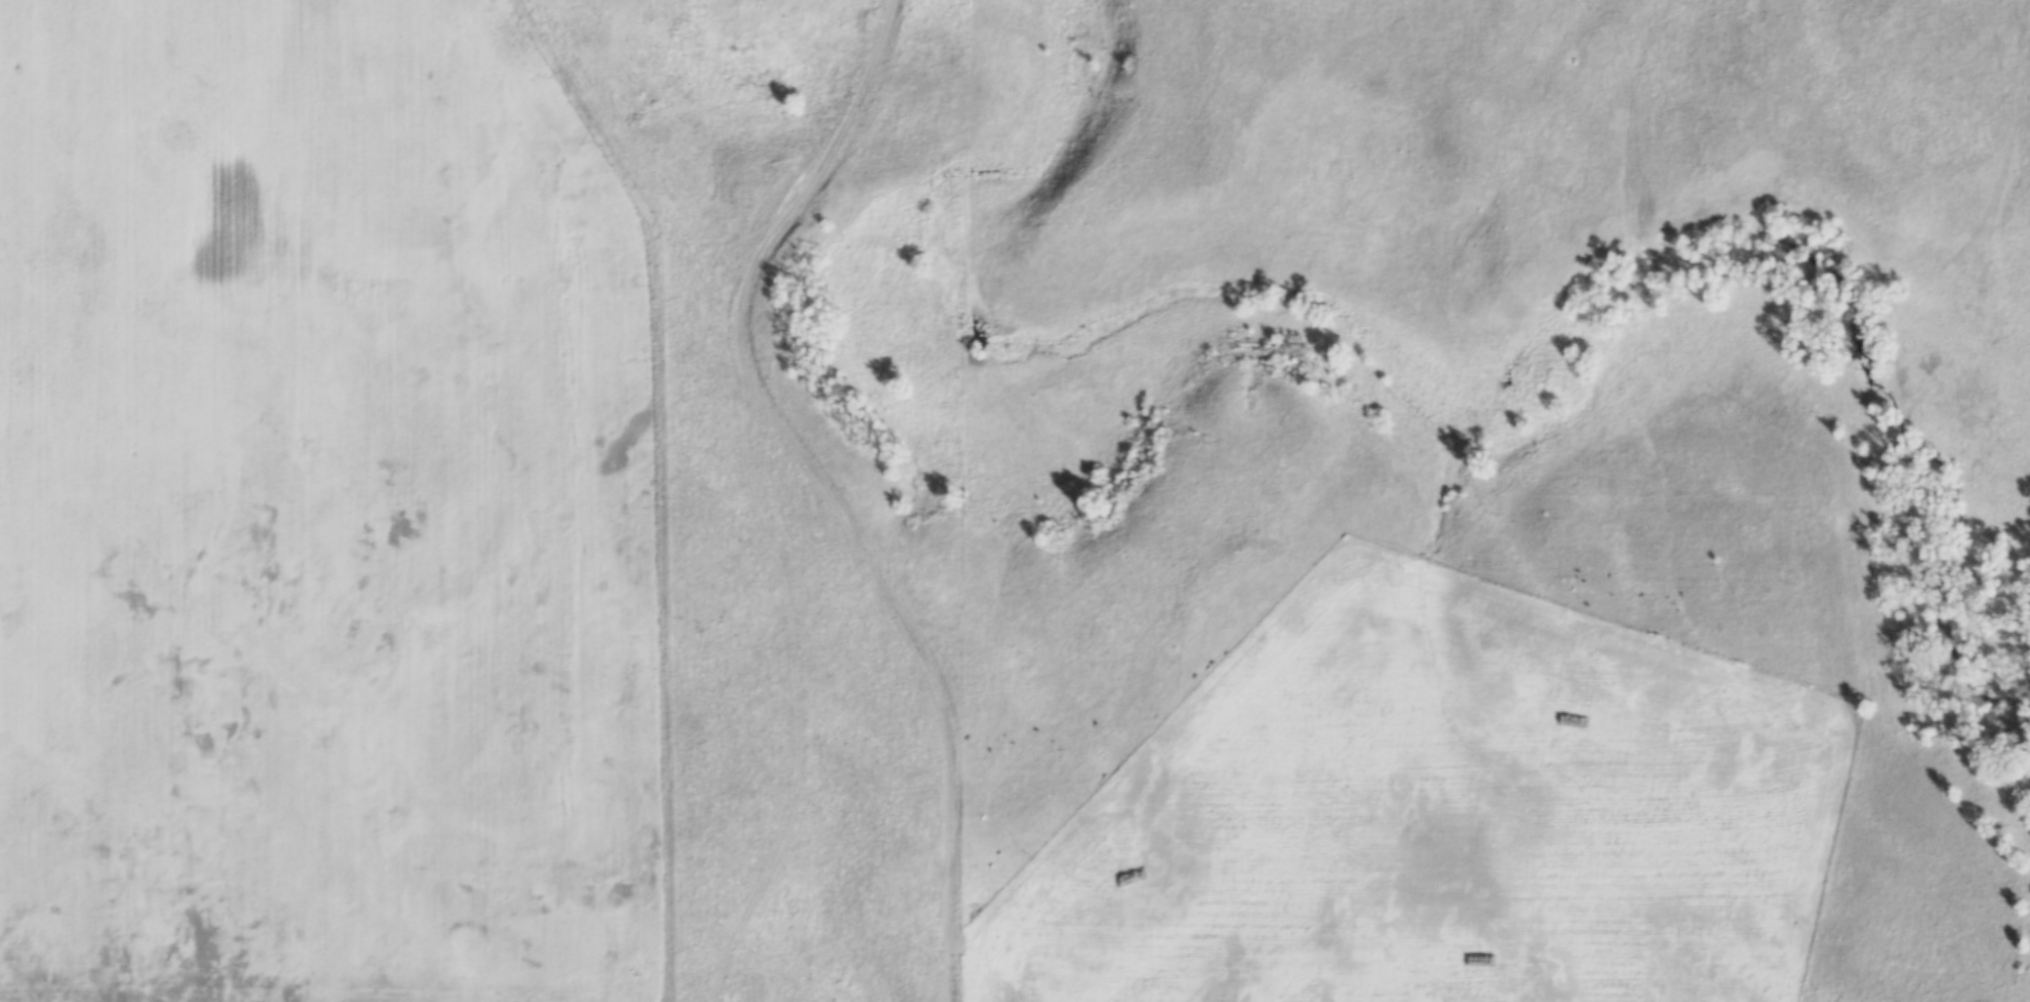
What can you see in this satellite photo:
road: (828, 482)
building: (1298, 983)

